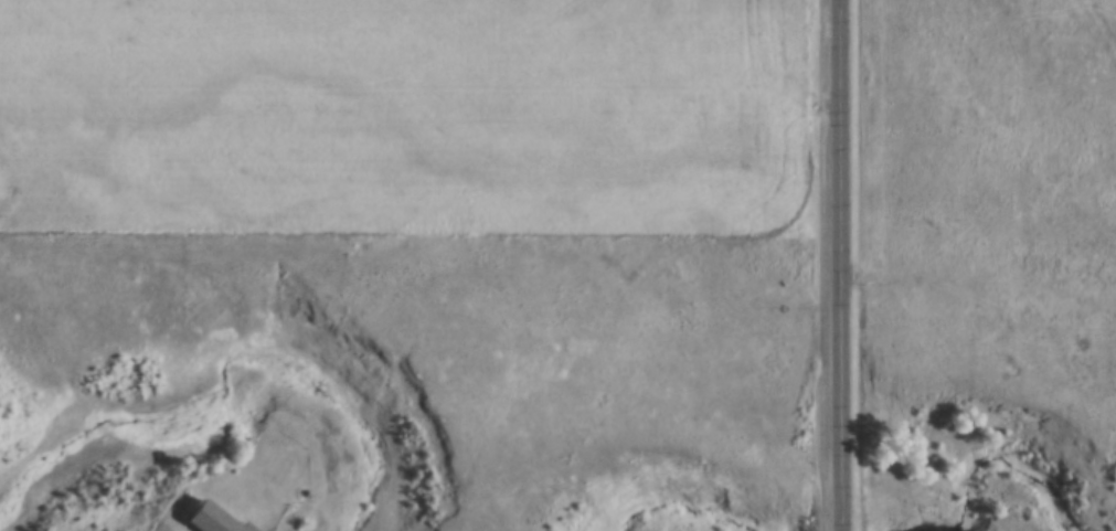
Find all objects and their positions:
road: (708, 104)
road: (839, 265)
building: (211, 520)

